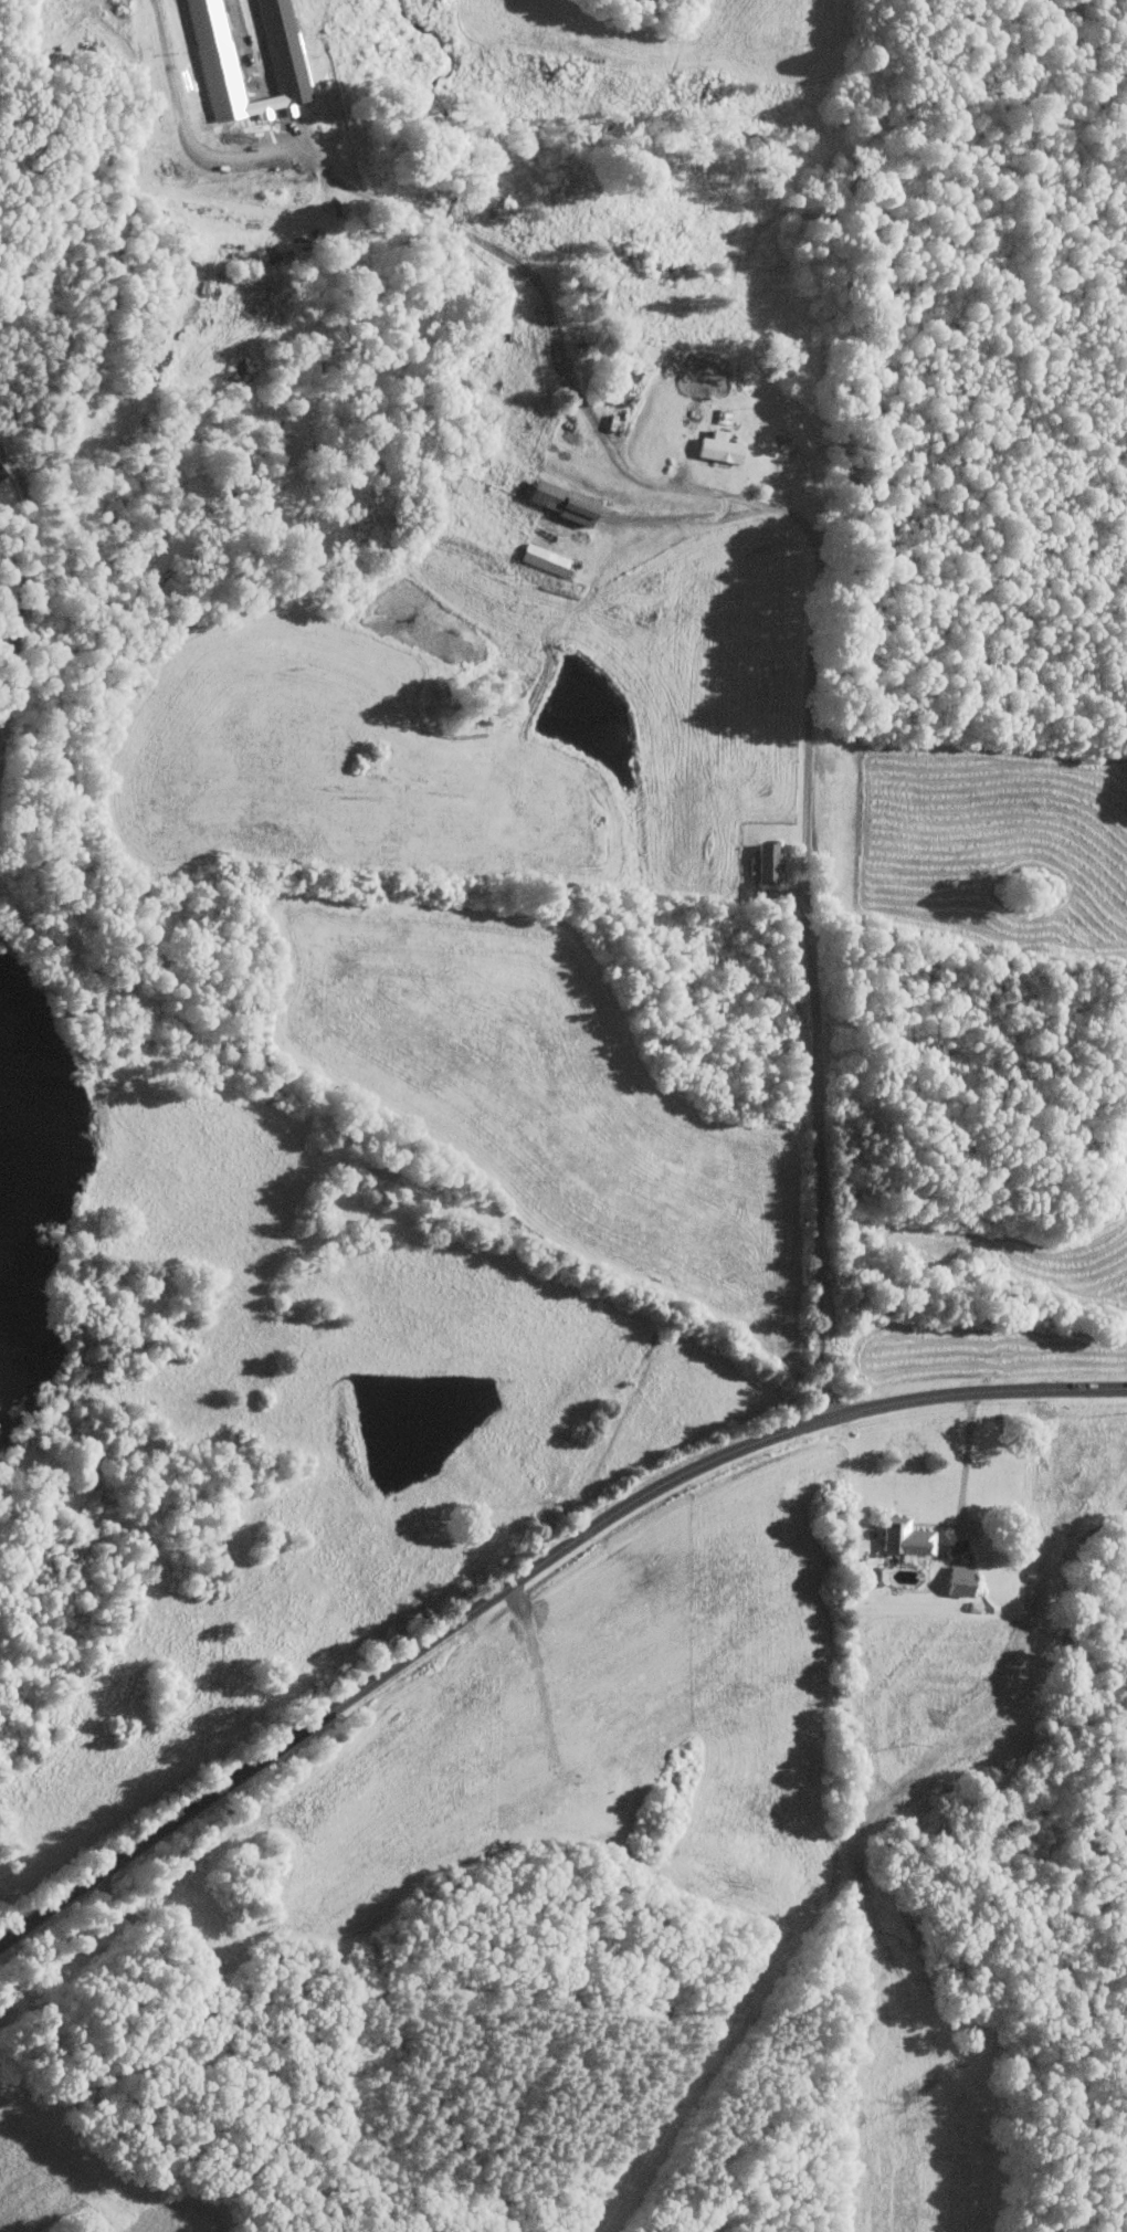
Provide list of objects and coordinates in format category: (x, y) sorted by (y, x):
building: (278, 51)
building: (718, 449)
building: (0, 473)
building: (558, 501)
road: (680, 516)
road: (822, 540)
road: (17, 608)
building: (766, 861)
road: (965, 1472)
building: (904, 1536)
road: (528, 1577)
building: (957, 1579)

